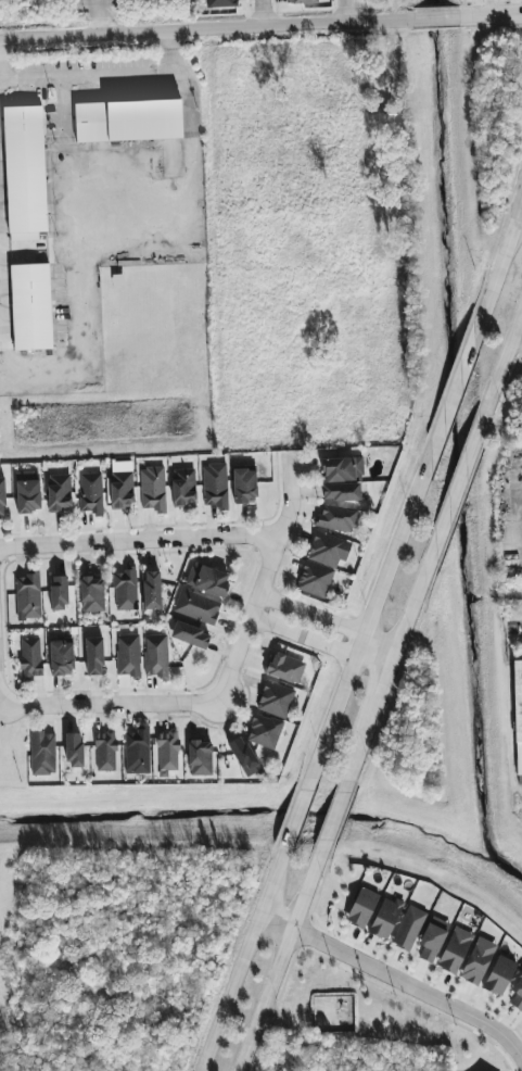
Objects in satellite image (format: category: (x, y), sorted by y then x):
building: (302, 1)
building: (219, 3)
road: (343, 11)
road: (260, 13)
road: (488, 16)
road: (93, 17)
road: (434, 18)
road: (205, 29)
road: (169, 50)
road: (87, 74)
building: (127, 121)
road: (63, 141)
building: (24, 169)
road: (74, 212)
road: (519, 215)
road: (498, 262)
building: (30, 306)
road: (500, 364)
road: (451, 395)
building: (342, 469)
road: (458, 482)
building: (120, 486)
building: (214, 486)
building: (243, 487)
building: (182, 488)
building: (152, 489)
building: (26, 492)
building: (340, 492)
building: (59, 493)
building: (90, 493)
building: (1, 496)
building: (336, 518)
road: (139, 544)
building: (321, 563)
building: (207, 579)
building: (124, 589)
building: (151, 590)
building: (58, 593)
building: (91, 595)
building: (27, 596)
building: (196, 607)
road: (311, 615)
road: (370, 616)
building: (189, 635)
road: (305, 640)
road: (375, 650)
building: (127, 655)
building: (92, 656)
building: (155, 656)
building: (29, 657)
building: (61, 657)
road: (387, 660)
building: (284, 668)
road: (224, 684)
building: (275, 700)
building: (518, 719)
building: (263, 731)
building: (73, 749)
building: (136, 751)
building: (167, 751)
building: (104, 752)
building: (41, 753)
building: (243, 756)
building: (199, 758)
road: (295, 815)
road: (332, 817)
building: (361, 908)
road: (275, 917)
building: (385, 918)
building: (408, 928)
building: (431, 942)
building: (454, 950)
road: (238, 960)
road: (278, 961)
building: (476, 961)
building: (498, 975)
road: (409, 987)
building: (518, 995)
road: (517, 1037)

